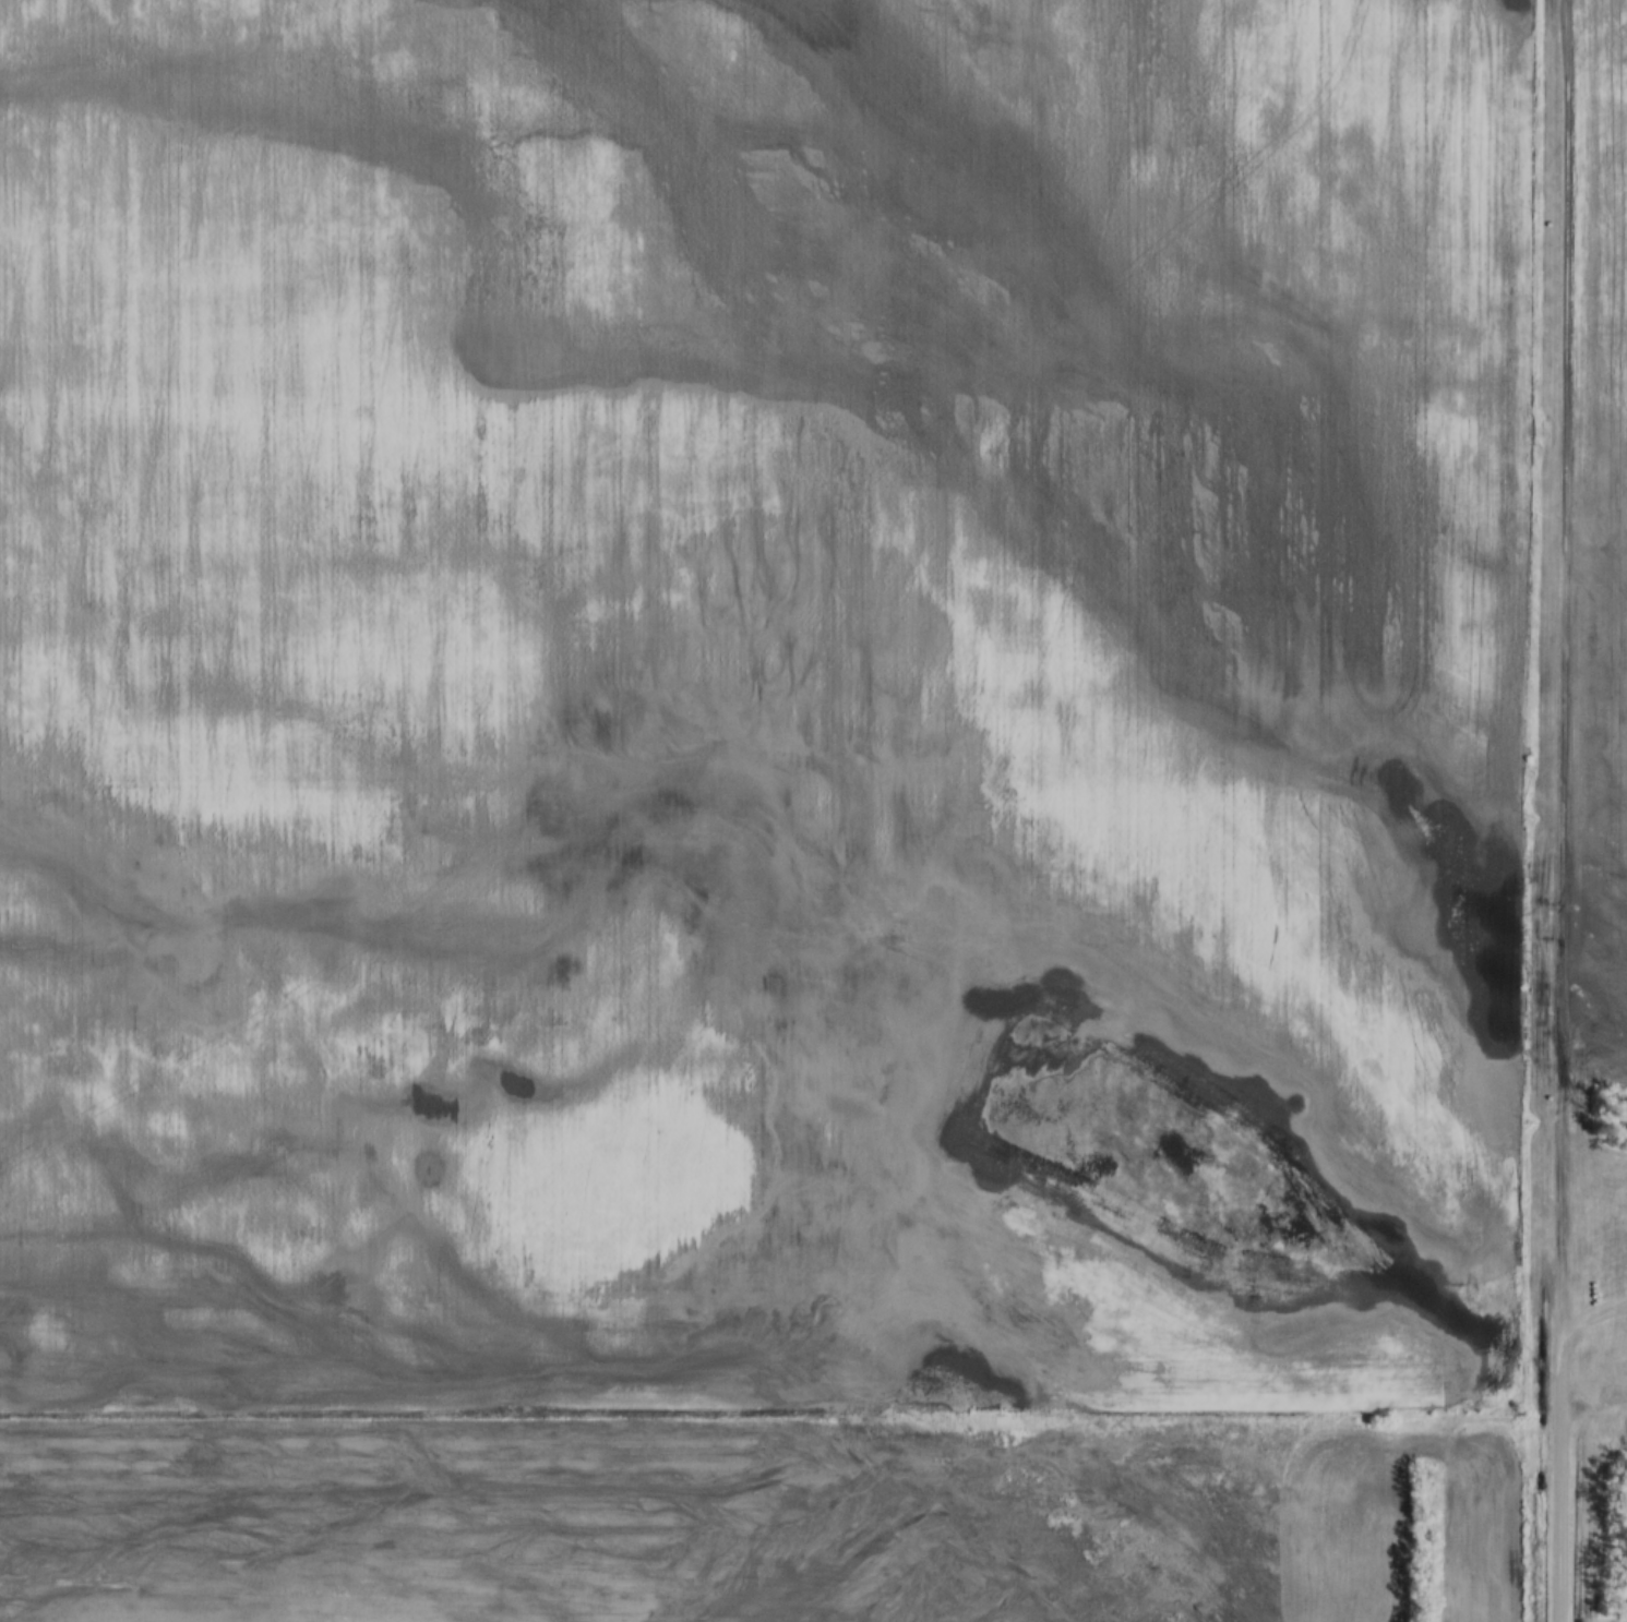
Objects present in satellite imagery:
road: (1547, 675)
road: (1590, 1320)
road: (1562, 1485)

